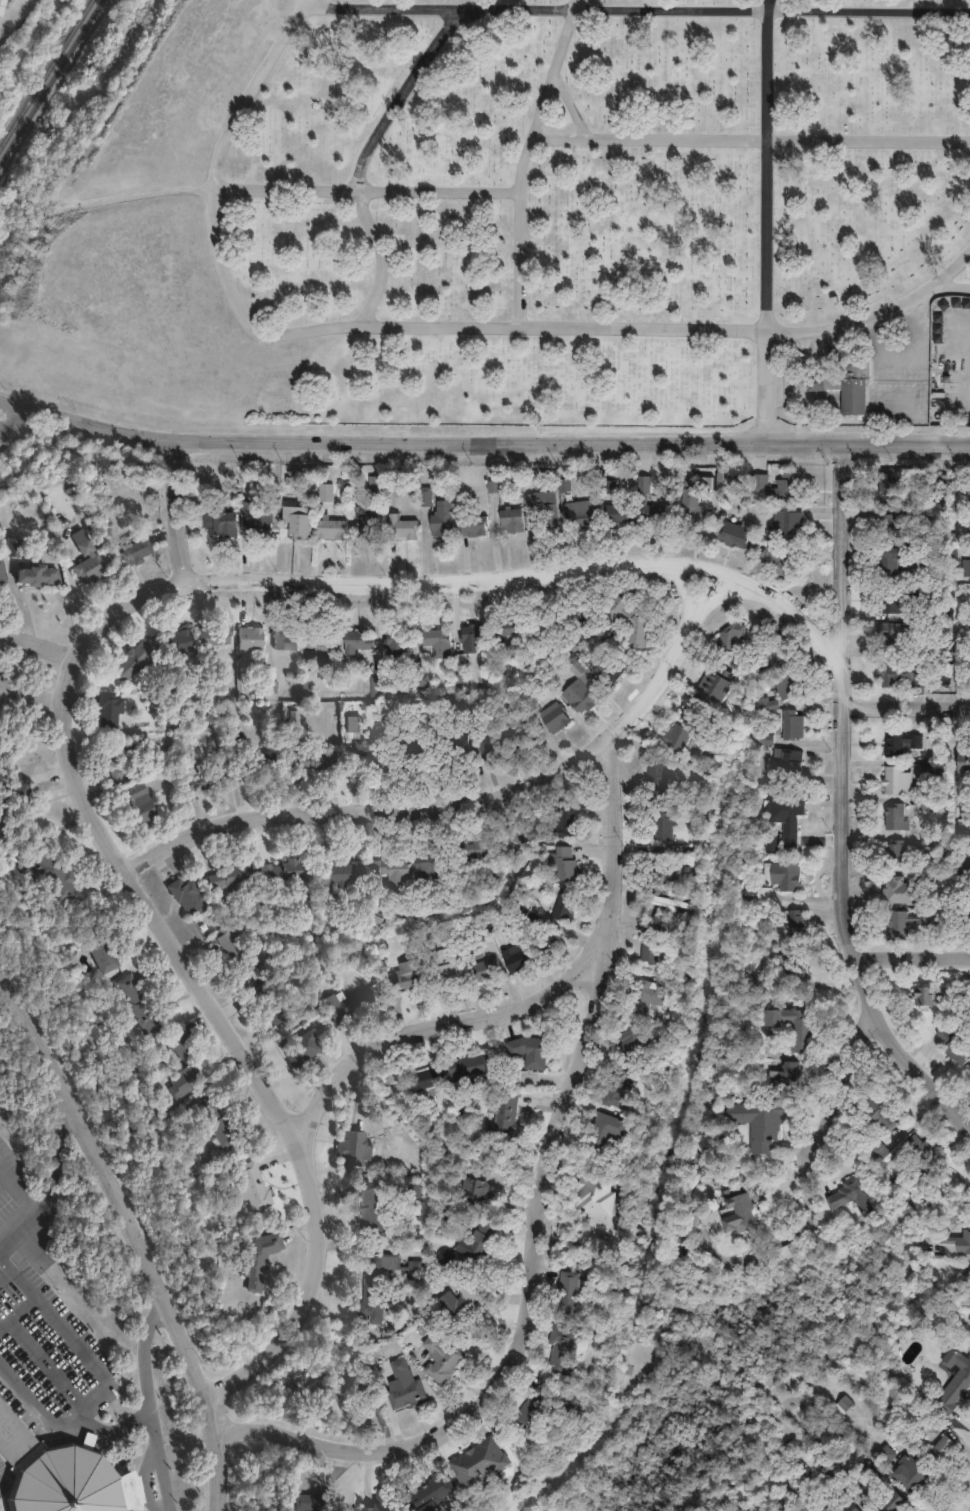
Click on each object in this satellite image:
building: (4, 8)
road: (636, 8)
road: (11, 13)
railway: (60, 50)
railway: (52, 83)
road: (568, 104)
railway: (14, 124)
road: (752, 137)
road: (363, 155)
road: (527, 159)
road: (292, 185)
park: (521, 218)
road: (766, 221)
road: (952, 267)
road: (433, 324)
building: (815, 385)
building: (854, 391)
road: (6, 402)
road: (6, 411)
road: (489, 442)
building: (698, 480)
building: (922, 481)
building: (758, 484)
building: (374, 485)
building: (944, 487)
building: (968, 487)
building: (888, 488)
building: (323, 494)
building: (426, 497)
road: (164, 506)
building: (544, 508)
building: (694, 512)
building: (618, 513)
building: (656, 513)
building: (580, 514)
building: (513, 520)
building: (786, 520)
building: (219, 523)
building: (297, 523)
building: (368, 523)
building: (445, 523)
building: (258, 526)
building: (893, 526)
building: (474, 527)
building: (400, 528)
building: (330, 529)
building: (969, 529)
building: (736, 535)
building: (12, 551)
building: (132, 551)
building: (87, 562)
building: (776, 563)
building: (894, 565)
building: (966, 568)
building: (2, 578)
building: (36, 579)
building: (906, 604)
building: (584, 618)
building: (630, 625)
building: (542, 628)
building: (889, 633)
building: (906, 635)
building: (216, 636)
building: (507, 636)
building: (730, 640)
building: (359, 641)
building: (179, 642)
building: (330, 642)
building: (399, 643)
building: (472, 643)
building: (248, 644)
building: (285, 645)
road: (35, 646)
building: (942, 648)
building: (433, 655)
building: (770, 661)
building: (964, 661)
road: (67, 662)
building: (134, 662)
building: (461, 668)
building: (613, 673)
building: (906, 677)
building: (380, 685)
building: (789, 685)
road: (31, 695)
building: (580, 701)
road: (907, 701)
building: (769, 704)
building: (697, 708)
building: (111, 709)
building: (554, 722)
building: (794, 724)
building: (523, 731)
building: (678, 736)
building: (711, 741)
building: (460, 744)
building: (899, 744)
building: (494, 747)
building: (423, 750)
building: (124, 754)
building: (235, 756)
building: (370, 758)
building: (4, 760)
building: (317, 760)
building: (962, 762)
building: (261, 763)
building: (790, 764)
building: (658, 775)
building: (205, 779)
building: (895, 781)
road: (463, 794)
building: (139, 804)
road: (844, 806)
building: (13, 807)
building: (789, 816)
building: (896, 818)
building: (563, 822)
building: (666, 824)
building: (519, 838)
building: (771, 844)
building: (482, 850)
building: (898, 853)
building: (565, 864)
building: (434, 867)
building: (664, 867)
building: (962, 867)
building: (396, 873)
building: (341, 875)
building: (784, 875)
building: (50, 876)
building: (283, 876)
building: (226, 880)
building: (896, 889)
building: (761, 893)
building: (184, 898)
building: (675, 901)
building: (525, 904)
building: (566, 906)
building: (963, 911)
building: (799, 923)
building: (900, 924)
building: (442, 935)
building: (549, 942)
building: (653, 942)
building: (476, 948)
road: (910, 950)
building: (99, 955)
building: (237, 956)
building: (518, 957)
building: (797, 966)
building: (489, 968)
building: (453, 972)
building: (759, 978)
building: (410, 979)
building: (967, 990)
building: (650, 995)
building: (930, 998)
building: (271, 1002)
building: (351, 1004)
building: (135, 1013)
road: (419, 1022)
building: (798, 1026)
building: (634, 1043)
building: (302, 1049)
building: (956, 1049)
building: (528, 1050)
building: (470, 1068)
building: (178, 1072)
building: (429, 1078)
building: (787, 1079)
building: (620, 1089)
building: (877, 1111)
building: (508, 1115)
building: (212, 1119)
building: (758, 1129)
building: (601, 1133)
building: (355, 1149)
building: (878, 1151)
building: (923, 1158)
road: (807, 1172)
building: (948, 1180)
road: (22, 1181)
road: (50, 1184)
building: (250, 1186)
building: (476, 1192)
building: (597, 1194)
building: (852, 1195)
road: (535, 1197)
building: (373, 1205)
building: (740, 1208)
building: (448, 1227)
road: (133, 1239)
building: (956, 1239)
building: (476, 1252)
building: (781, 1259)
building: (257, 1268)
building: (382, 1288)
building: (966, 1288)
building: (573, 1292)
building: (464, 1311)
building: (651, 1335)
building: (570, 1347)
building: (442, 1365)
building: (898, 1376)
building: (957, 1386)
building: (339, 1392)
building: (403, 1392)
building: (539, 1407)
building: (846, 1408)
building: (915, 1411)
road: (81, 1416)
building: (946, 1450)
building: (479, 1458)
building: (889, 1458)
road: (156, 1462)
building: (62, 1474)
building: (833, 1475)
building: (915, 1476)
building: (432, 1493)
building: (306, 1502)
building: (381, 1503)
building: (894, 1503)
building: (851, 1507)
building: (805, 1510)
building: (808, 1510)

